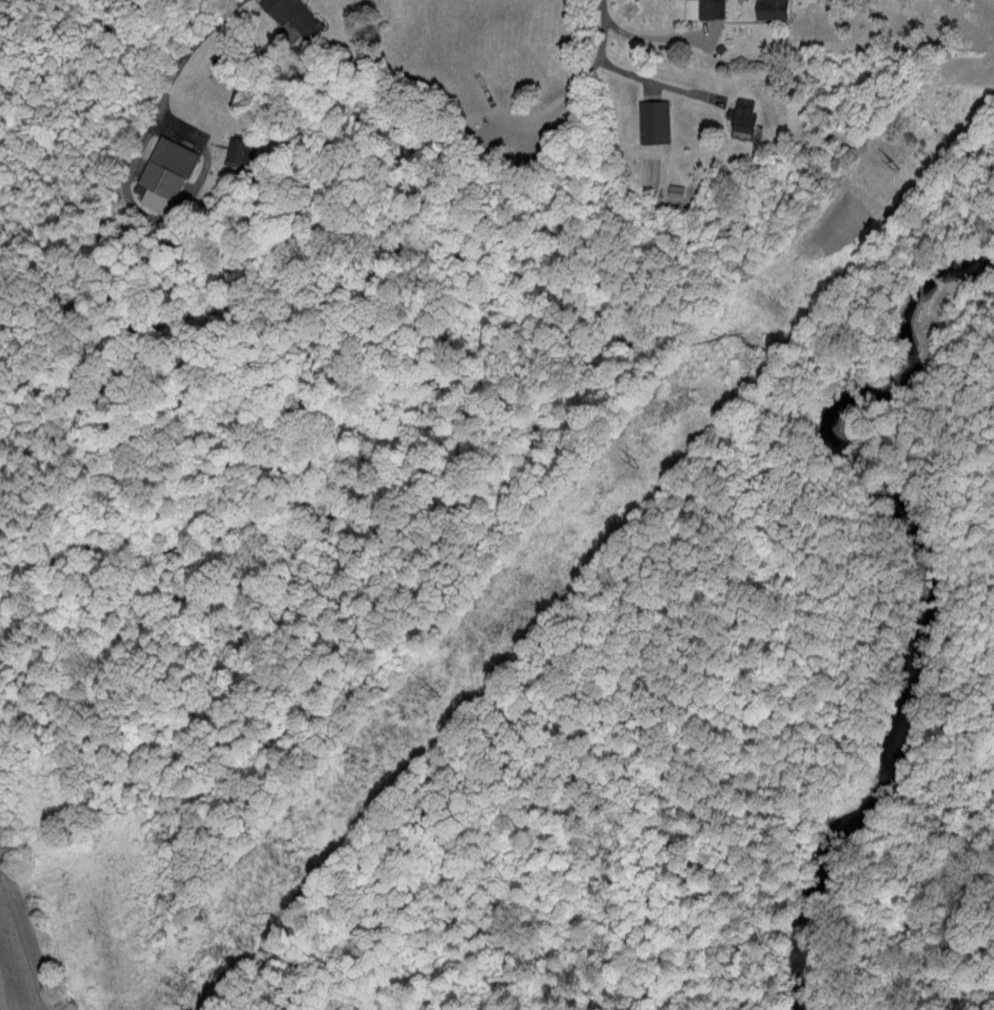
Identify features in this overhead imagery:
building: (704, 9)
building: (774, 9)
building: (294, 15)
road: (651, 34)
road: (173, 57)
road: (628, 71)
building: (748, 117)
building: (655, 122)
building: (536, 123)
building: (238, 149)
power tower: (903, 164)
building: (166, 172)
power tower: (643, 459)
power tower: (441, 692)

